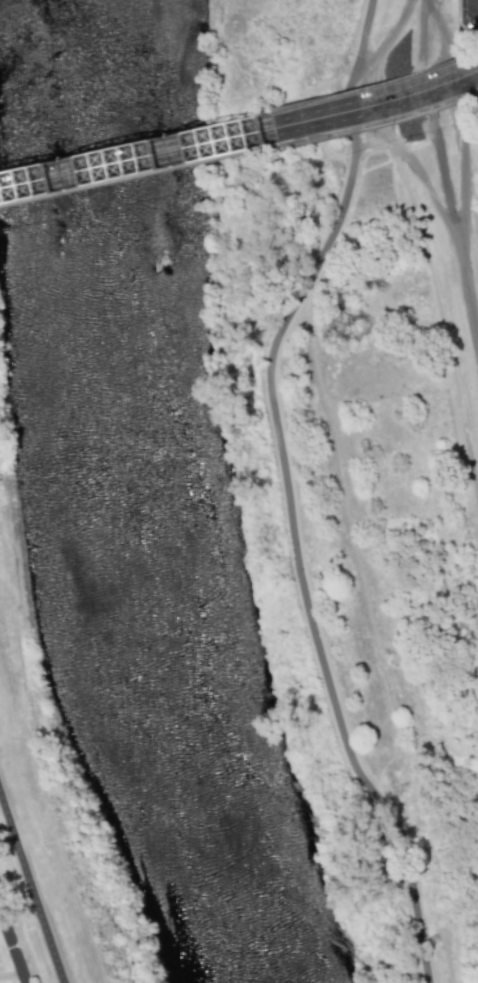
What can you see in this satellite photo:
road: (474, 4)
road: (438, 27)
road: (423, 32)
road: (362, 34)
road: (390, 39)
road: (351, 79)
road: (391, 108)
road: (240, 151)
road: (151, 161)
road: (454, 225)
road: (452, 229)
road: (431, 274)
river: (159, 495)
road: (307, 559)
road: (33, 884)
road: (12, 948)
road: (11, 974)

